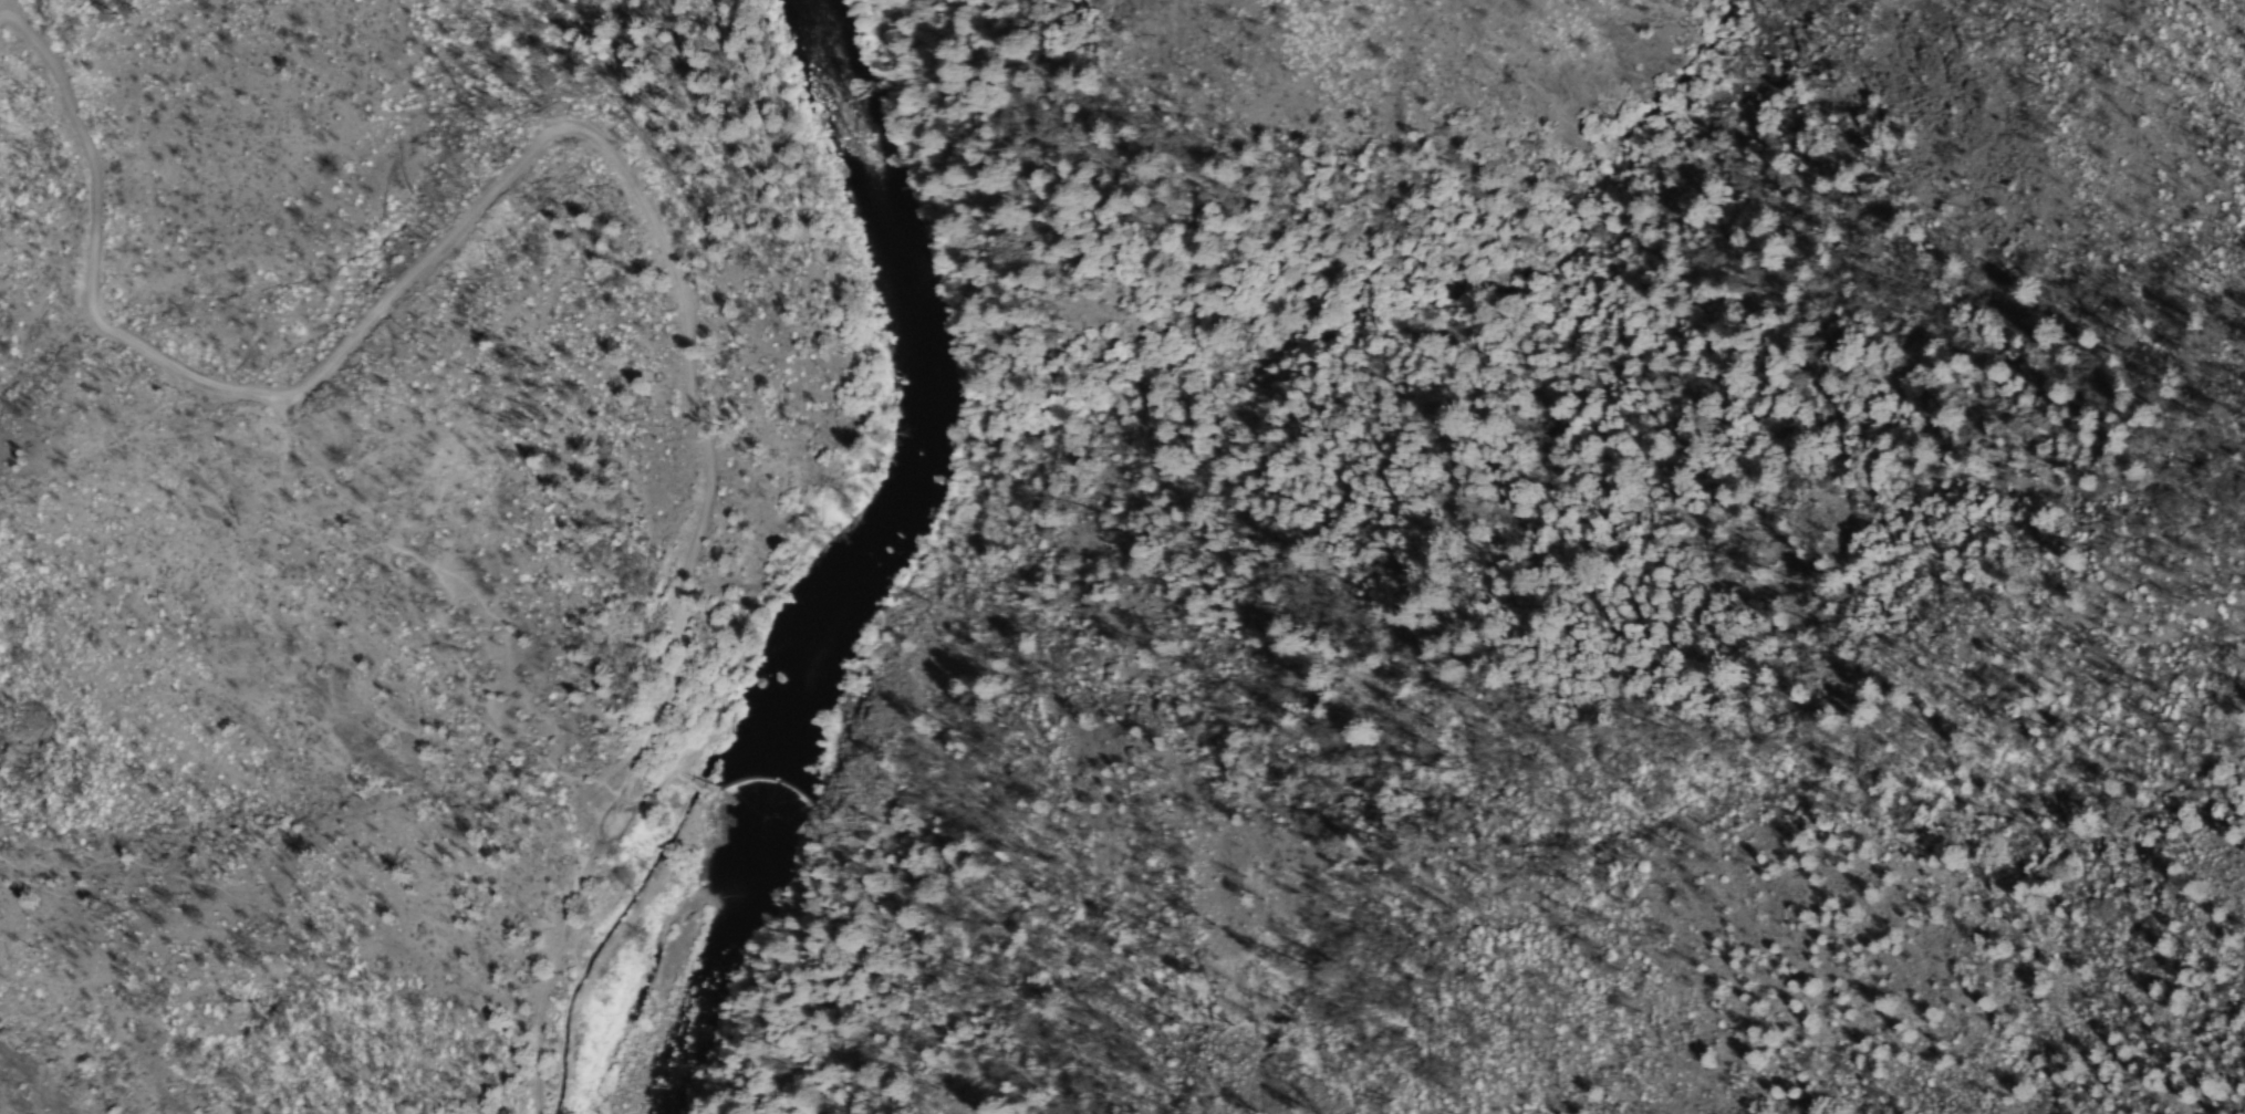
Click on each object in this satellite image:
road: (619, 145)
river: (866, 565)

